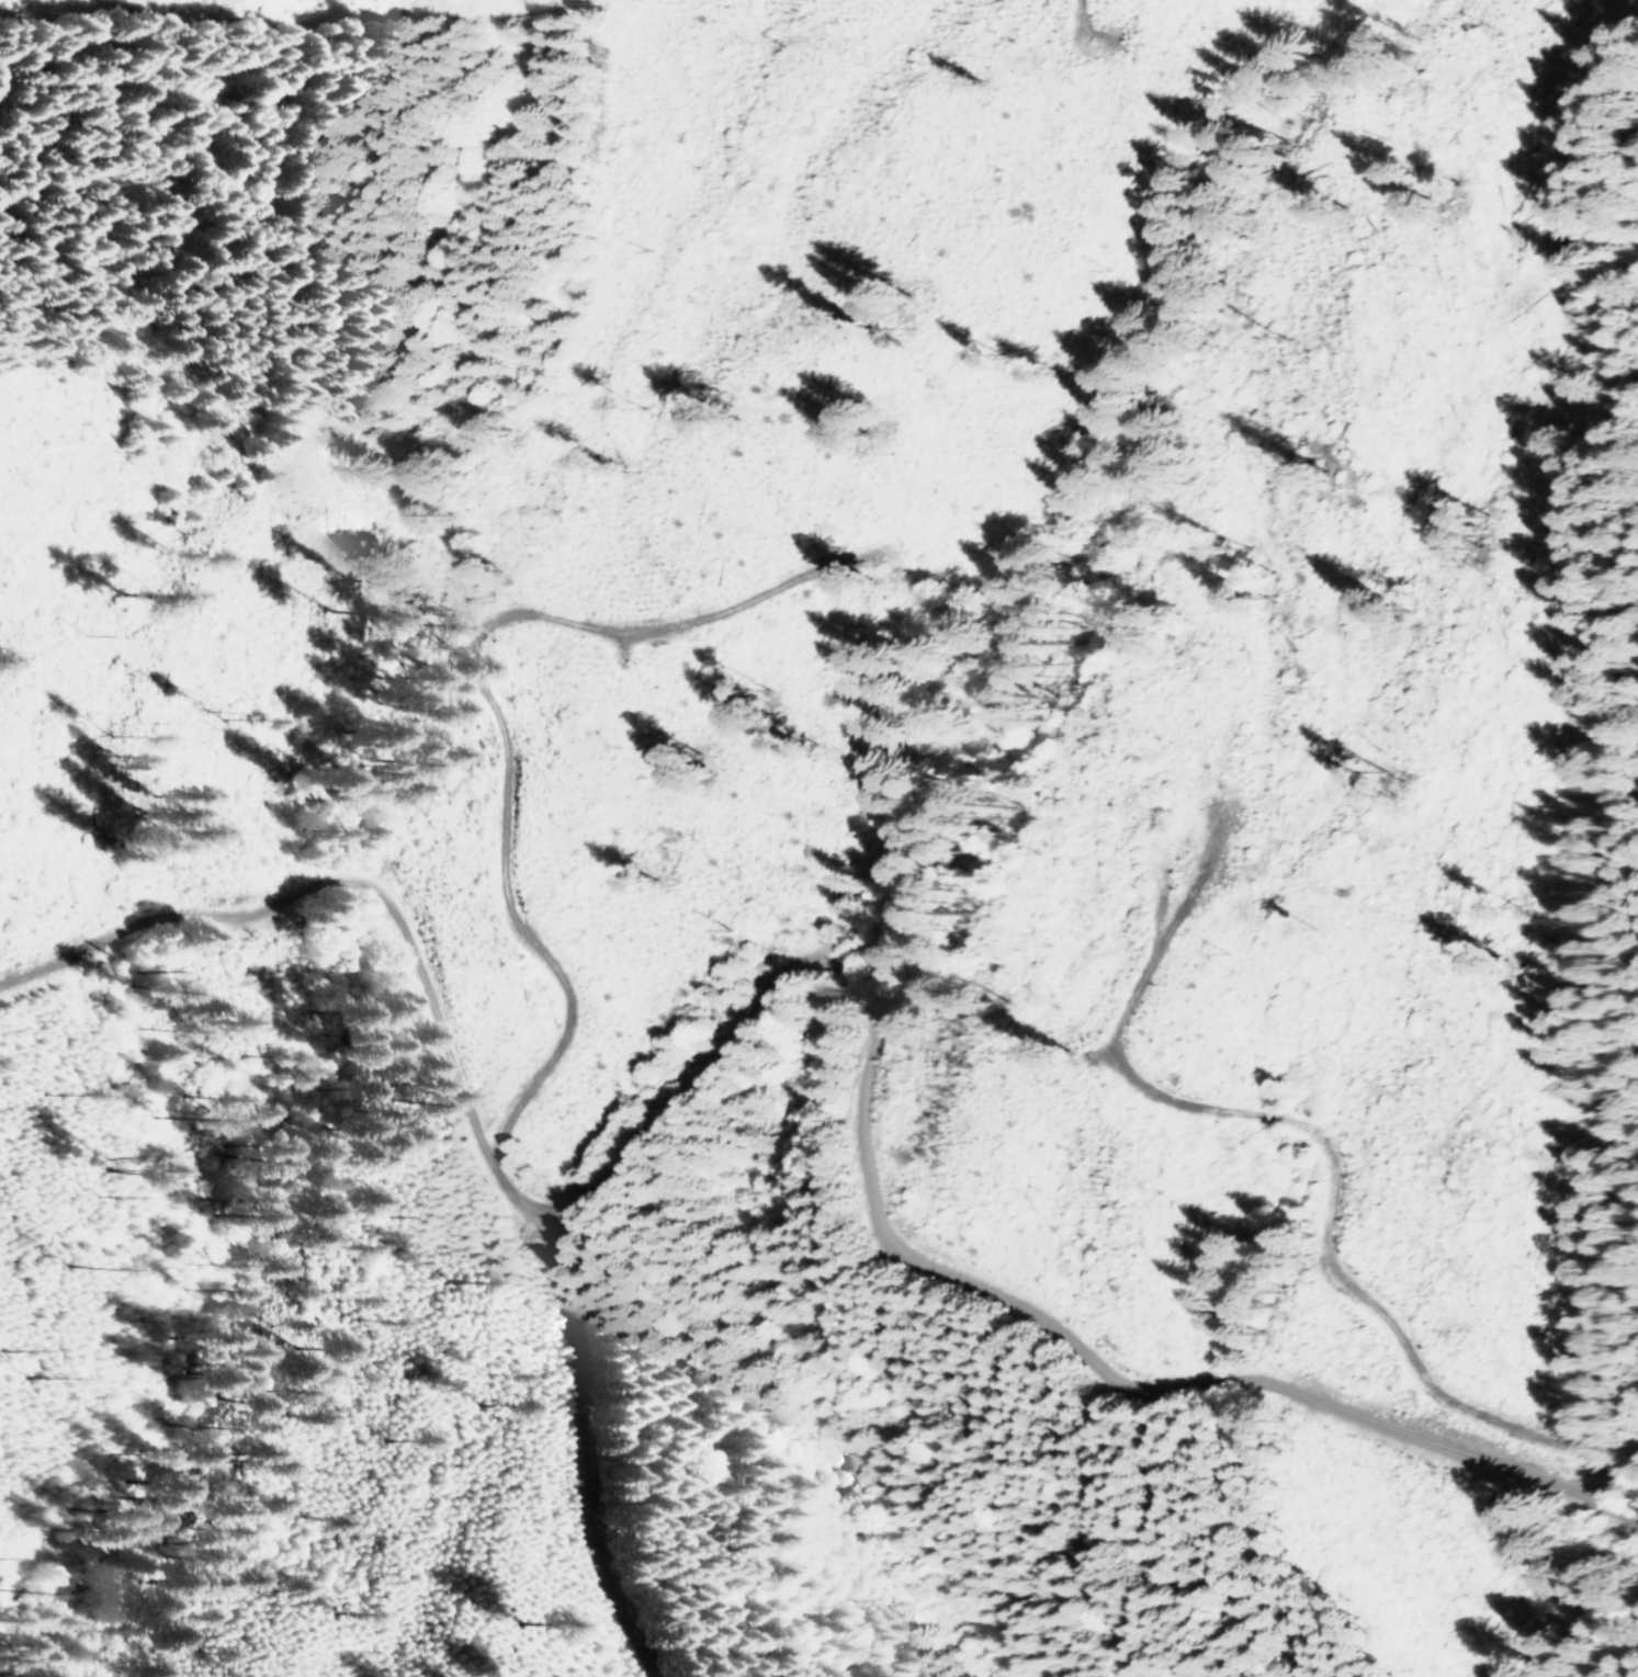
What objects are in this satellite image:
crop: (1435, 125)
road: (494, 698)
road: (364, 888)
road: (1354, 1141)
road: (942, 1272)
road: (576, 1449)

